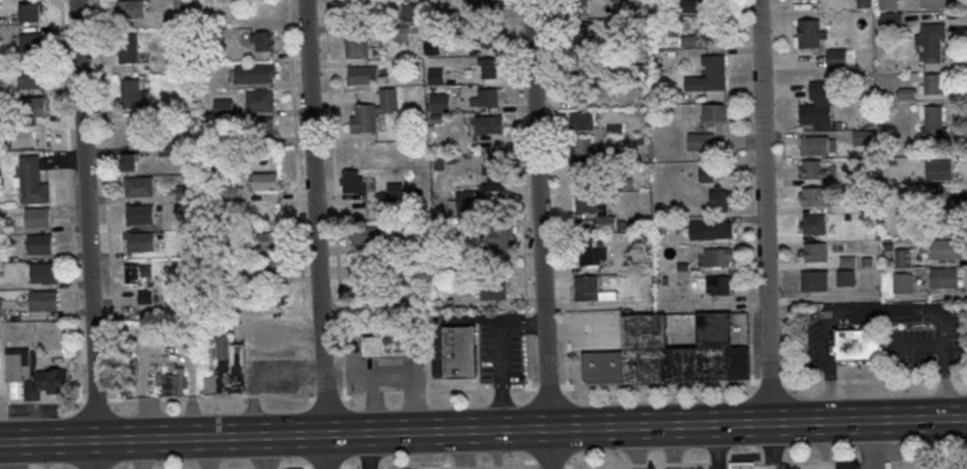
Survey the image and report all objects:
building: (807, 0)
building: (619, 1)
building: (713, 1)
building: (578, 3)
building: (864, 4)
building: (934, 4)
building: (483, 5)
building: (353, 6)
building: (688, 6)
building: (888, 6)
building: (181, 7)
building: (131, 10)
building: (411, 11)
building: (32, 14)
building: (892, 23)
building: (713, 28)
building: (403, 34)
building: (810, 35)
building: (578, 36)
building: (494, 38)
building: (432, 42)
building: (689, 42)
building: (267, 43)
building: (933, 43)
building: (358, 45)
building: (33, 48)
building: (129, 49)
building: (837, 59)
building: (581, 66)
building: (490, 68)
building: (256, 74)
building: (364, 77)
building: (438, 77)
building: (710, 77)
building: (33, 80)
building: (934, 84)
building: (907, 94)
building: (134, 95)
building: (581, 95)
building: (489, 99)
building: (261, 102)
building: (389, 102)
building: (441, 103)
building: (224, 108)
building: (165, 109)
building: (818, 109)
building: (34, 111)
building: (717, 114)
building: (365, 120)
building: (583, 122)
building: (935, 124)
building: (490, 126)
building: (261, 129)
building: (616, 130)
building: (863, 137)
building: (702, 143)
building: (815, 147)
building: (168, 149)
building: (589, 149)
building: (130, 163)
building: (813, 171)
building: (939, 171)
building: (588, 175)
building: (708, 175)
building: (867, 175)
building: (494, 180)
building: (33, 183)
building: (269, 183)
building: (354, 184)
building: (626, 184)
building: (140, 188)
building: (396, 191)
road: (521, 192)
building: (185, 193)
building: (232, 194)
building: (815, 198)
building: (937, 198)
building: (721, 200)
building: (589, 204)
building: (467, 206)
road: (765, 211)
road: (540, 214)
building: (142, 216)
building: (39, 219)
building: (953, 219)
building: (607, 224)
building: (814, 226)
building: (6, 227)
building: (712, 231)
road: (87, 234)
road: (316, 234)
building: (368, 236)
building: (502, 239)
building: (269, 242)
building: (408, 243)
building: (142, 244)
building: (41, 246)
building: (947, 251)
building: (592, 253)
building: (816, 253)
building: (720, 257)
building: (904, 258)
building: (849, 263)
building: (277, 268)
building: (45, 275)
building: (133, 277)
building: (846, 279)
building: (945, 279)
building: (816, 282)
building: (904, 284)
building: (720, 285)
building: (588, 289)
building: (495, 290)
building: (279, 297)
building: (146, 298)
road: (809, 298)
road: (787, 301)
building: (44, 302)
road: (591, 304)
road: (564, 307)
building: (1, 308)
road: (885, 315)
road: (526, 324)
road: (523, 325)
road: (788, 343)
building: (395, 344)
building: (858, 344)
parking lot: (910, 347)
road: (566, 348)
road: (751, 349)
road: (502, 351)
building: (671, 351)
building: (460, 354)
parking lot: (500, 354)
road: (528, 361)
building: (228, 370)
building: (17, 373)
road: (959, 379)
building: (53, 380)
road: (945, 380)
road: (861, 381)
road: (771, 382)
road: (659, 385)
building: (171, 387)
road: (549, 388)
road: (502, 389)
road: (523, 389)
road: (247, 396)
road: (502, 406)
road: (759, 424)
road: (276, 436)
road: (872, 445)
road: (717, 446)
road: (675, 447)
road: (633, 448)
road: (554, 449)
road: (369, 451)
road: (260, 452)
road: (550, 462)
road: (766, 462)
road: (436, 463)
building: (849, 465)
road: (322, 466)
building: (742, 466)
road: (262, 467)
road: (306, 468)

